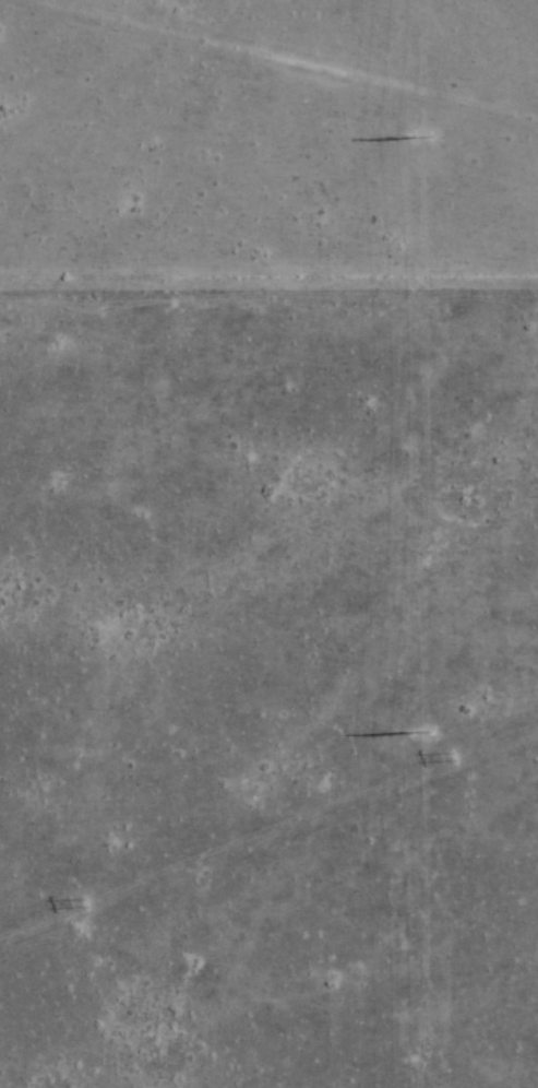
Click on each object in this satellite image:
power tower: (420, 138)
power tower: (423, 732)
power tower: (456, 756)
power tower: (86, 903)

